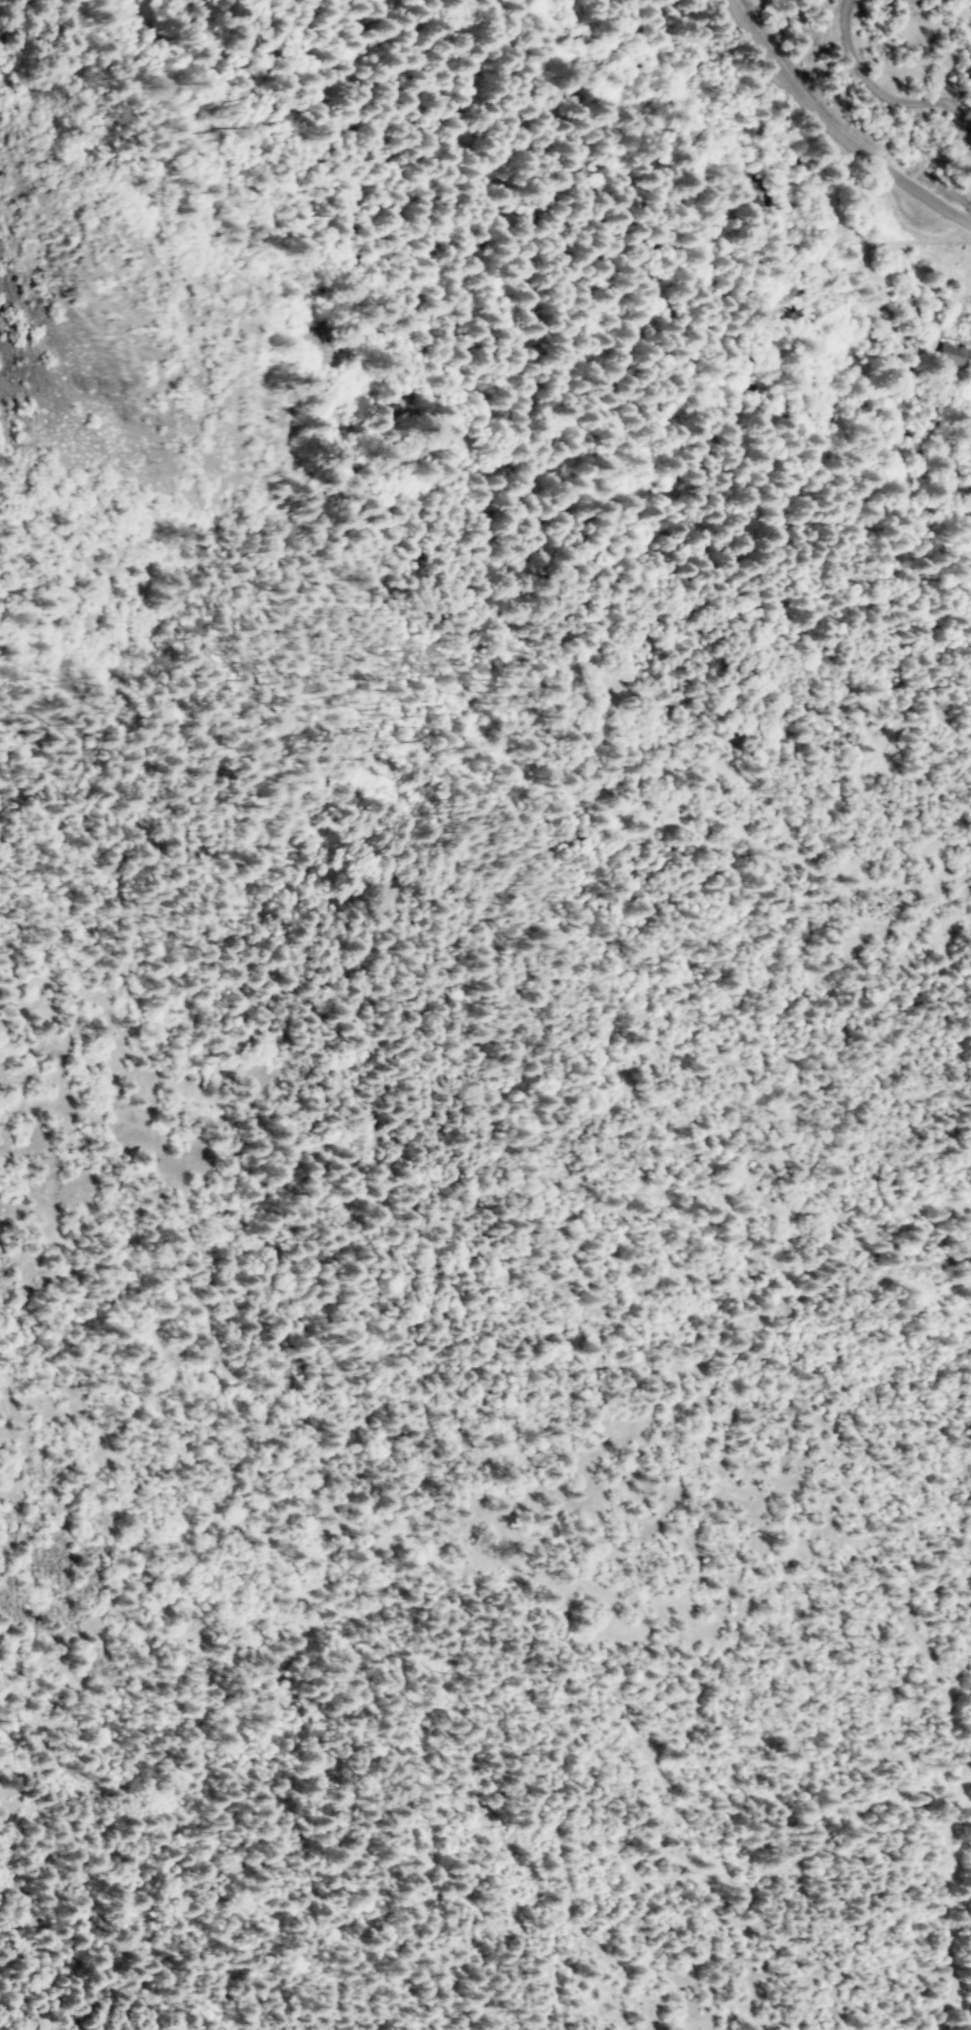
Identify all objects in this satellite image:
road: (830, 137)
road: (863, 331)
building: (948, 355)
road: (815, 1186)

